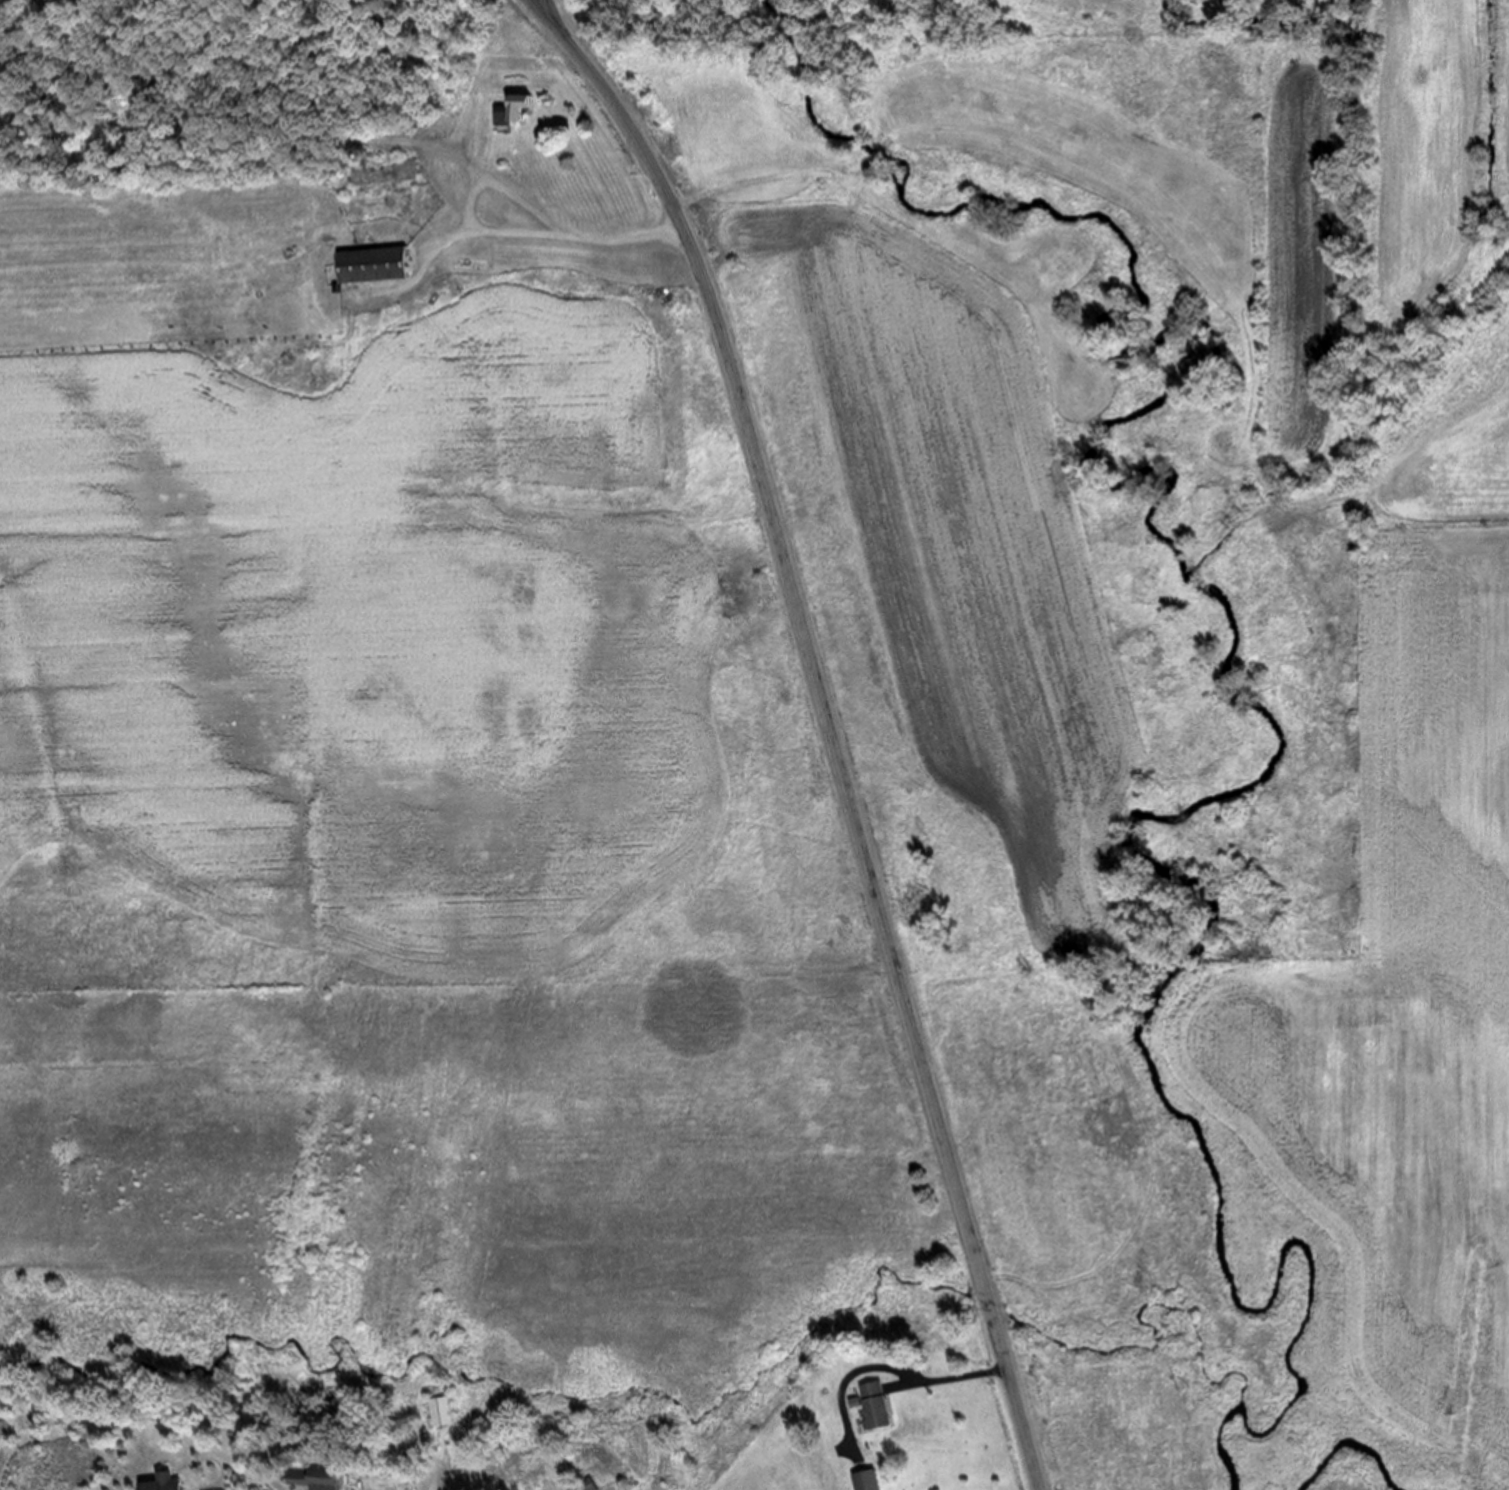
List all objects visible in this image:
road: (535, 3)
building: (507, 110)
road: (246, 118)
road: (874, 154)
road: (771, 171)
building: (375, 174)
road: (511, 194)
building: (472, 256)
road: (1189, 262)
building: (368, 265)
road: (415, 278)
river: (1260, 710)
road: (827, 724)
road: (952, 1377)
road: (840, 1383)
building: (883, 1403)
building: (447, 1410)
river: (1351, 1445)
building: (319, 1479)
building: (870, 1481)
building: (172, 1484)
building: (593, 1486)

